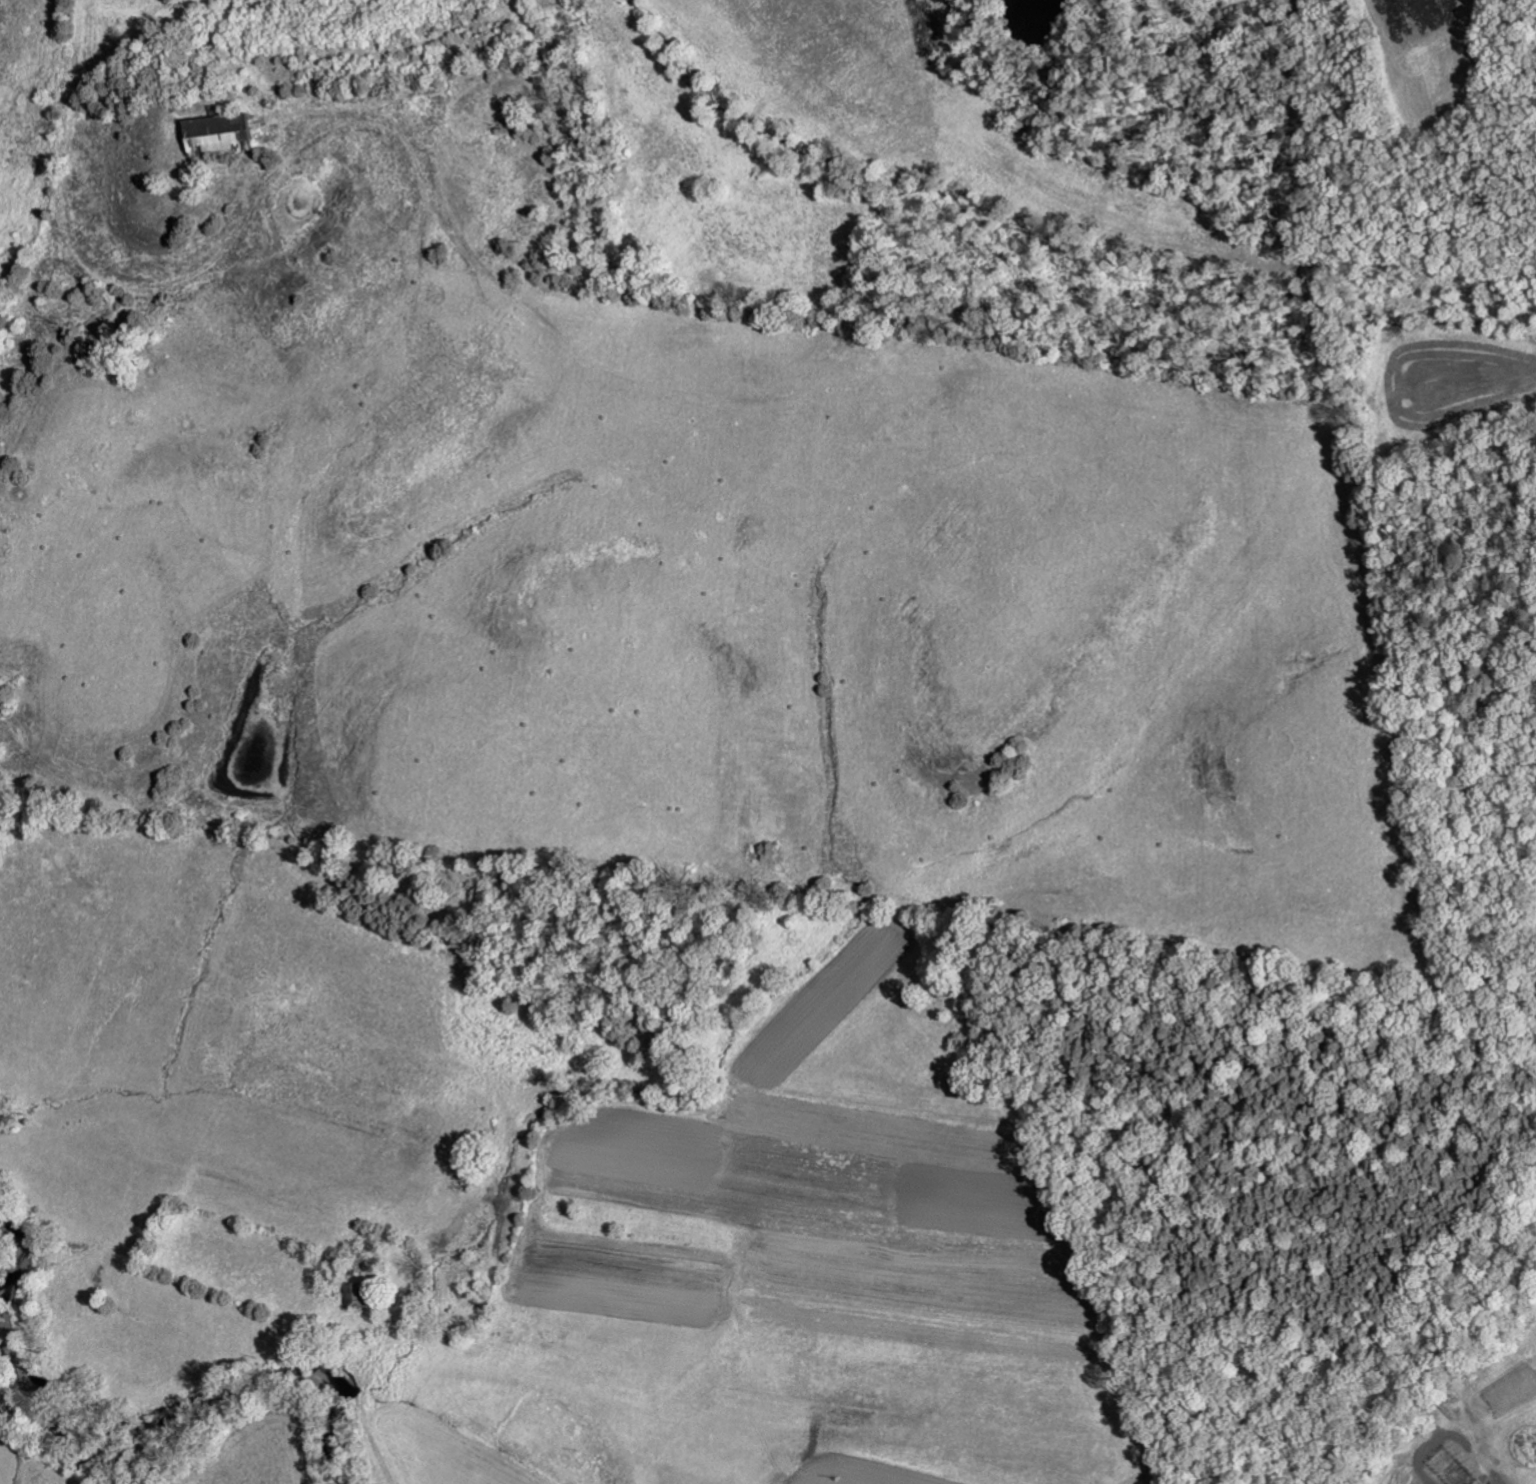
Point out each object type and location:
road: (99, 196)
road: (316, 1392)

